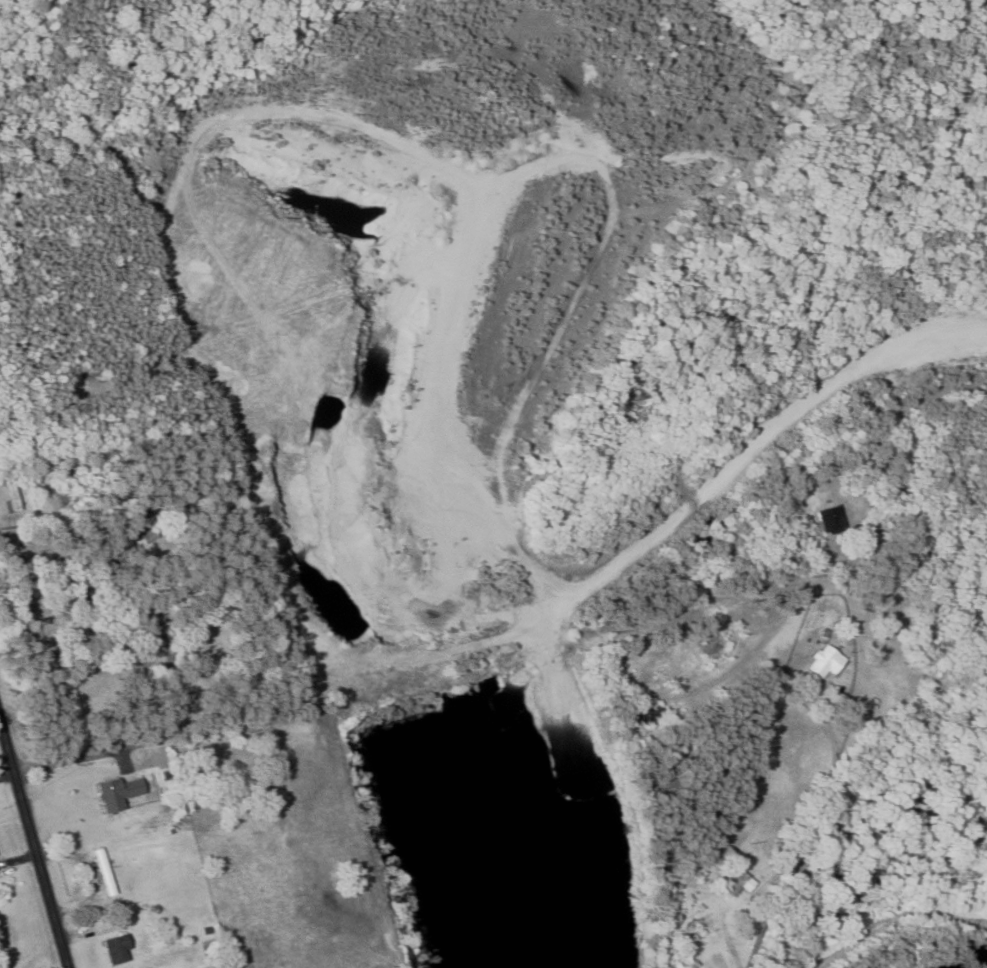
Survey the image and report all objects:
building: (13, 494)
building: (832, 521)
building: (147, 533)
building: (713, 647)
building: (825, 662)
road: (847, 693)
building: (649, 716)
road: (108, 750)
building: (215, 770)
building: (118, 793)
road: (35, 841)
building: (105, 872)
building: (737, 885)
building: (708, 924)
road: (645, 936)
building: (117, 950)

